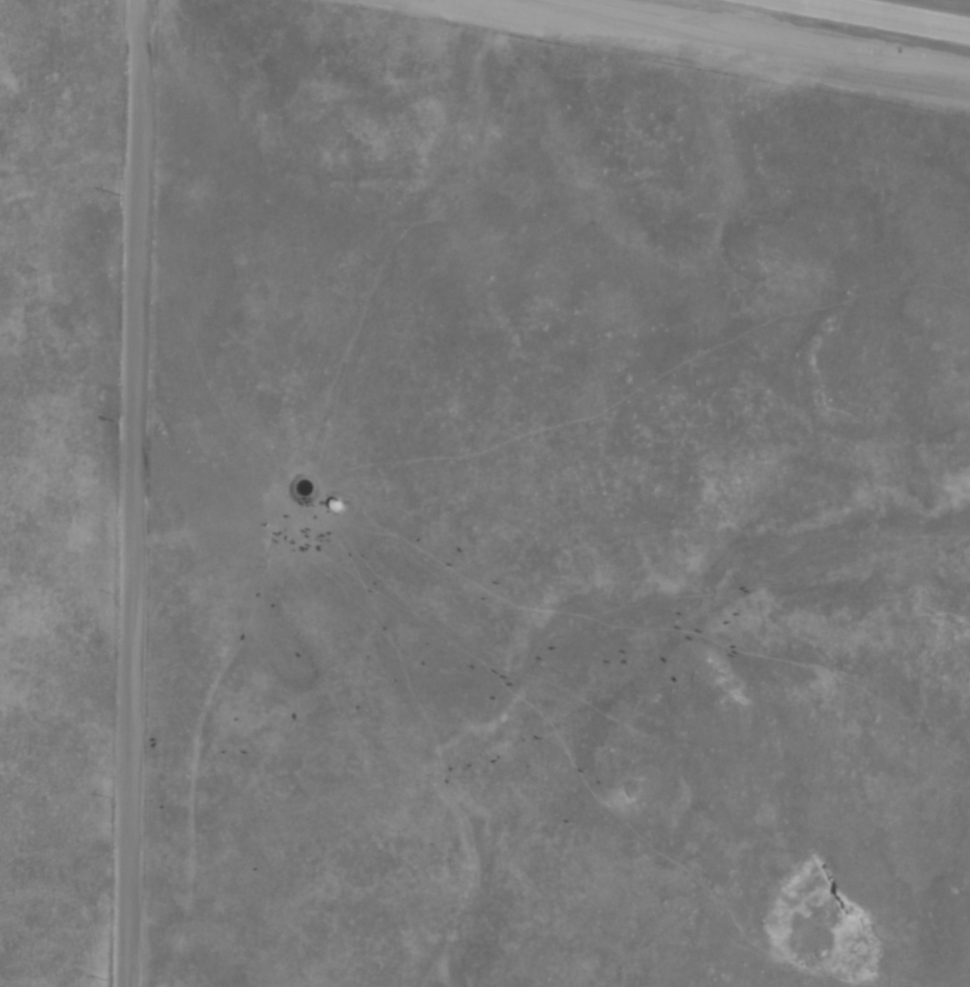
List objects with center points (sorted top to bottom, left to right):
road: (889, 14)

